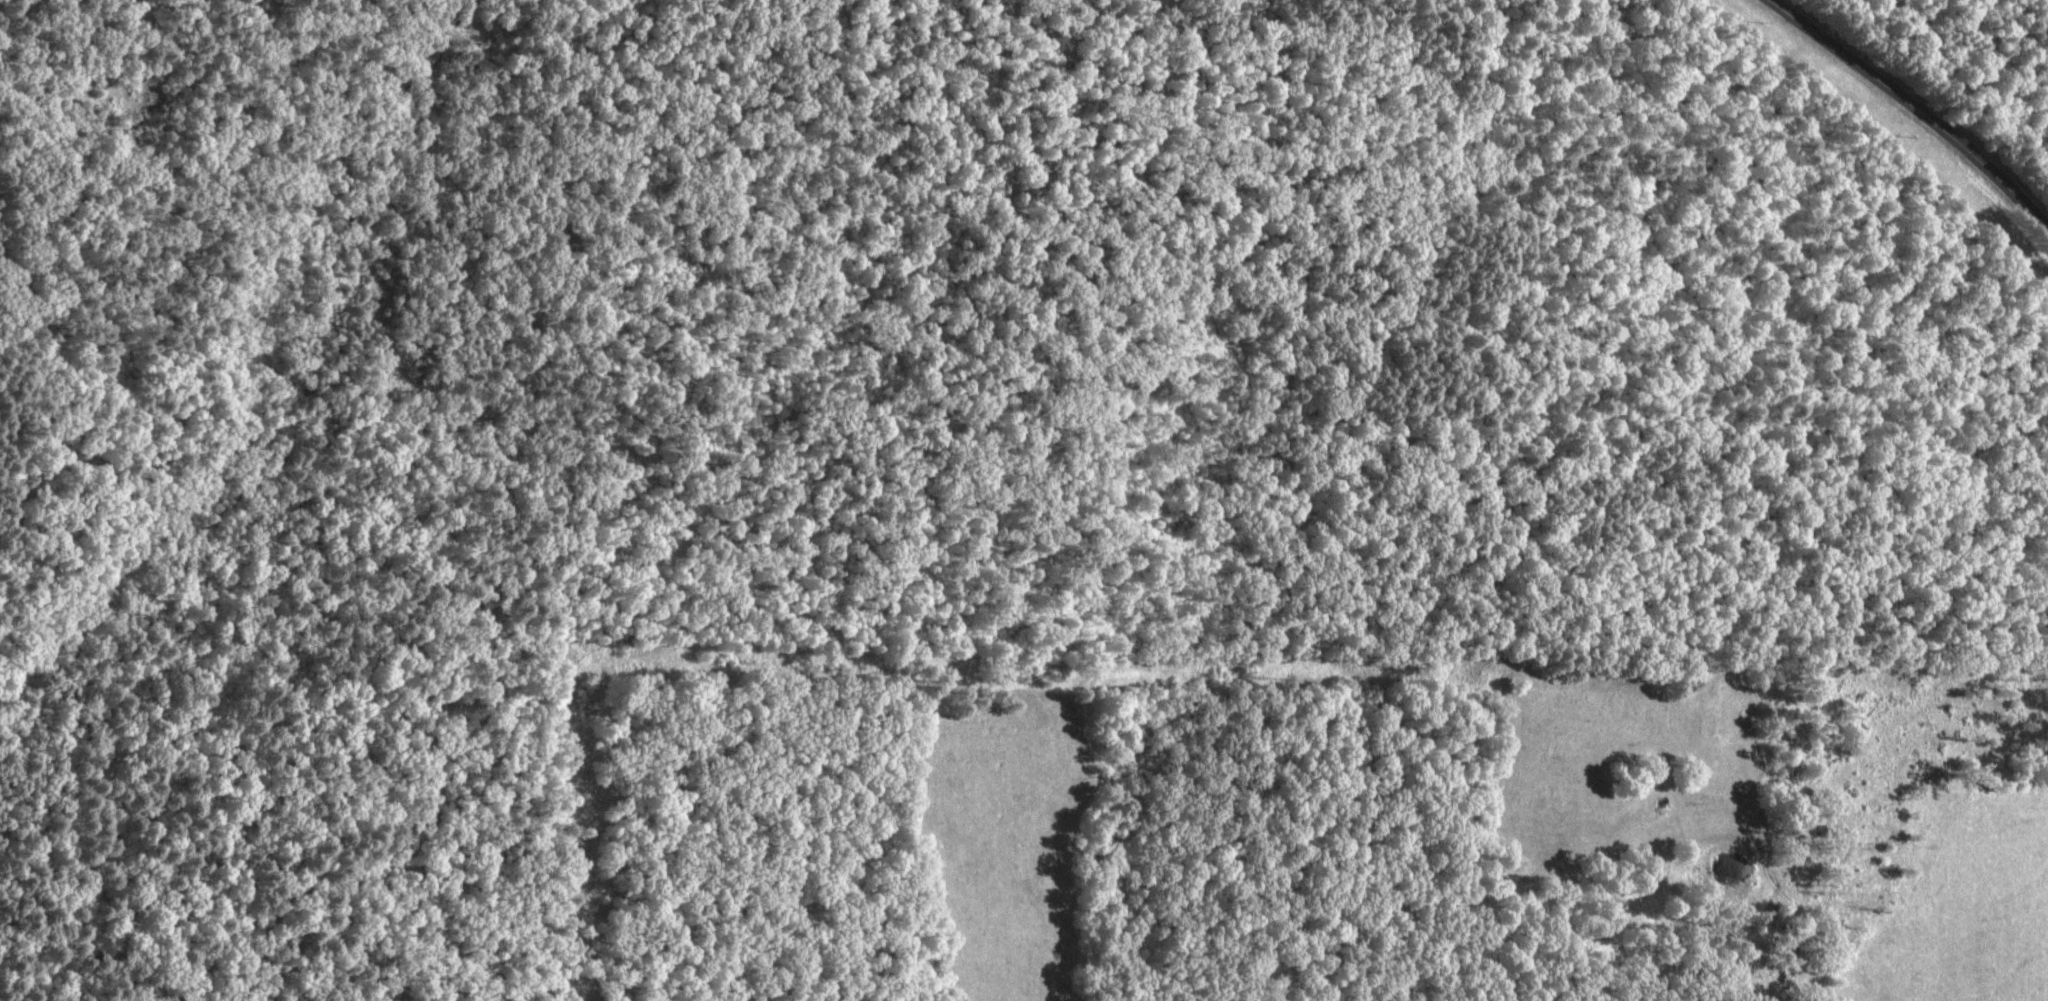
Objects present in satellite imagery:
road: (1955, 81)

